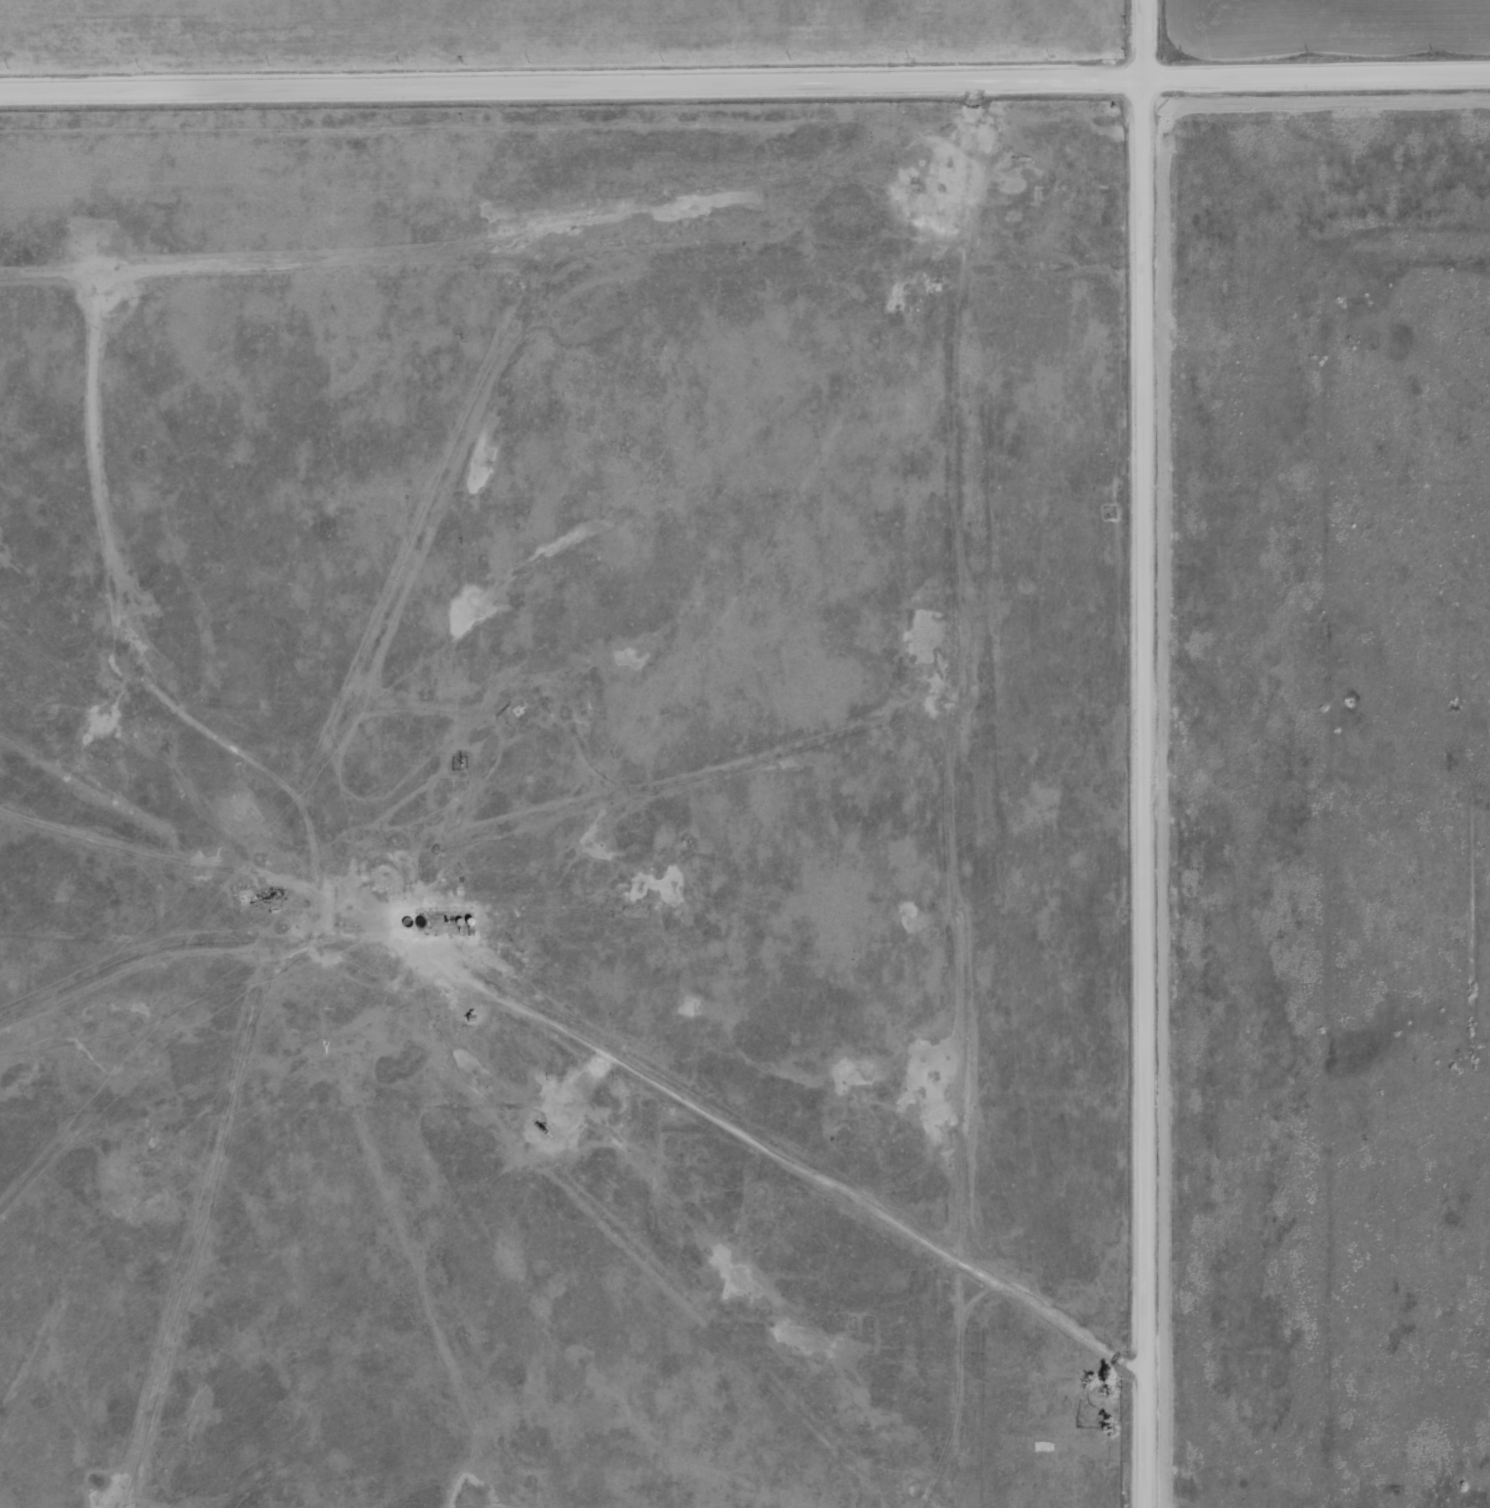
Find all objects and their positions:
road: (744, 81)
road: (1150, 753)

